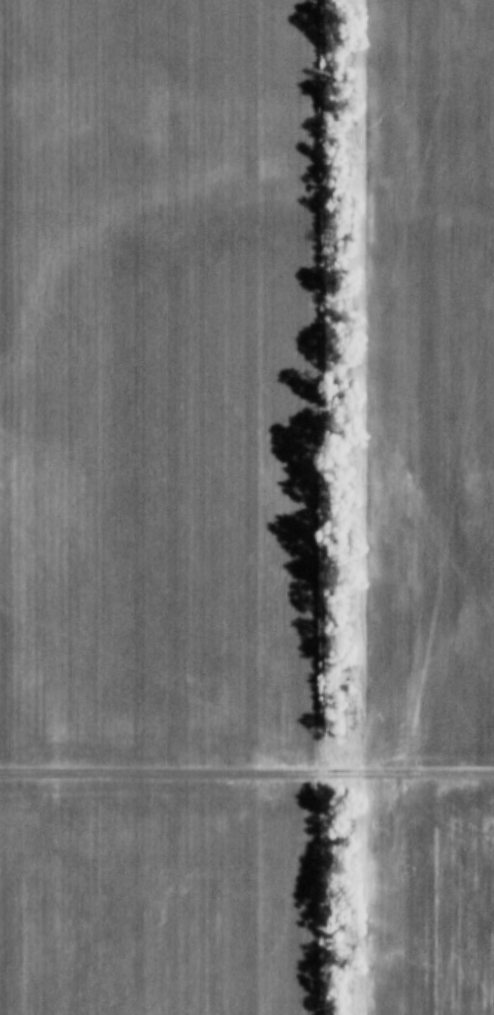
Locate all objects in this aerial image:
road: (247, 773)

